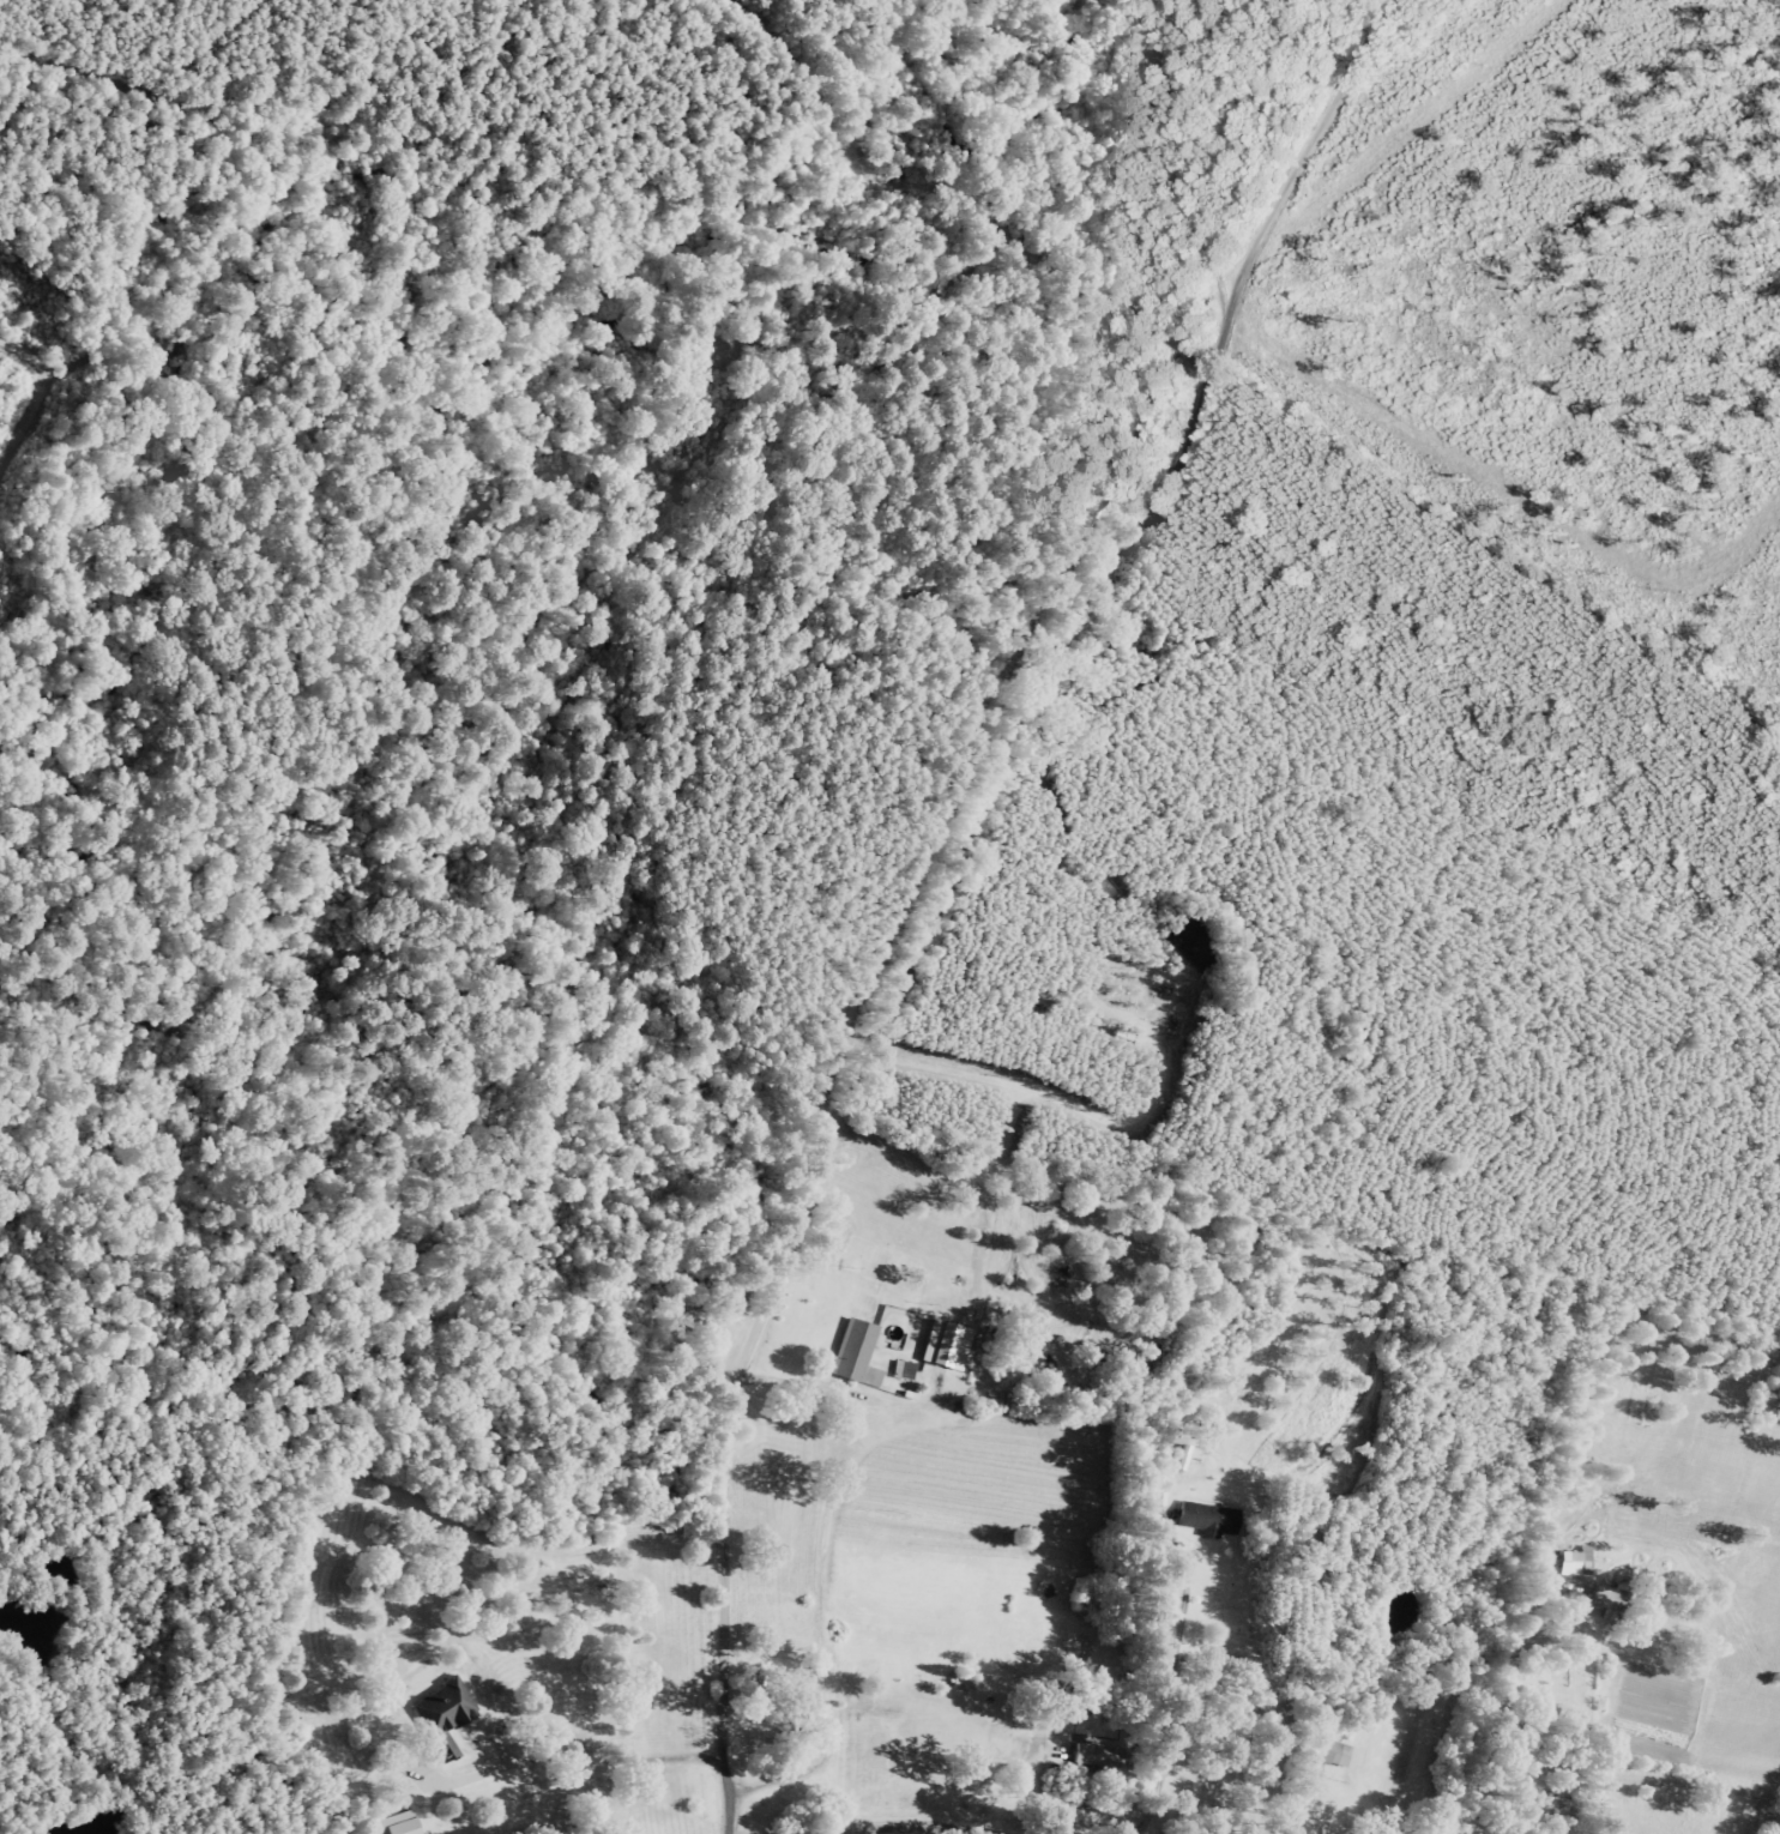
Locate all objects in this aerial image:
road: (951, 886)
building: (942, 1345)
building: (855, 1352)
building: (1203, 1516)
building: (1574, 1561)
building: (1568, 1591)
building: (1604, 1595)
building: (441, 1713)
building: (1327, 1750)
building: (1092, 1754)
building: (399, 1823)

